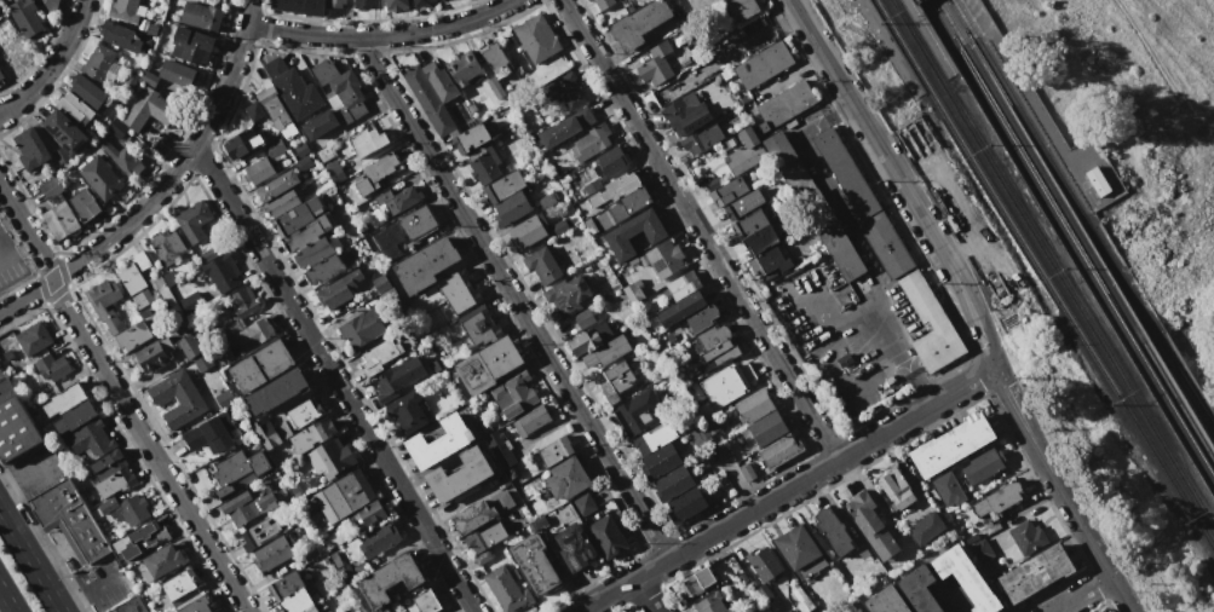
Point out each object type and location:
building: (587, 0)
building: (589, 0)
building: (334, 2)
building: (421, 2)
building: (362, 4)
building: (603, 4)
building: (50, 5)
building: (395, 5)
building: (700, 5)
building: (298, 6)
building: (741, 8)
building: (125, 10)
building: (201, 16)
building: (24, 17)
building: (638, 24)
building: (151, 29)
building: (119, 36)
road: (381, 37)
building: (537, 37)
railway: (924, 40)
building: (144, 45)
building: (191, 45)
railway: (894, 47)
building: (11, 51)
building: (495, 59)
road: (52, 64)
building: (100, 64)
building: (656, 64)
building: (763, 65)
building: (462, 68)
building: (323, 71)
building: (176, 73)
road: (1163, 73)
building: (1, 79)
building: (128, 82)
building: (439, 82)
building: (292, 88)
building: (87, 91)
building: (565, 91)
road: (1026, 92)
building: (485, 94)
building: (349, 96)
building: (427, 100)
building: (783, 105)
building: (75, 108)
building: (150, 109)
building: (274, 109)
building: (254, 111)
building: (684, 116)
building: (318, 125)
building: (116, 128)
building: (565, 128)
building: (64, 131)
building: (471, 137)
building: (701, 139)
building: (592, 142)
building: (364, 143)
building: (241, 144)
building: (30, 148)
building: (274, 148)
building: (744, 152)
building: (324, 154)
building: (61, 155)
building: (121, 158)
building: (610, 161)
railway: (1047, 161)
building: (303, 163)
building: (787, 163)
building: (332, 168)
building: (483, 168)
building: (257, 171)
railway: (1040, 172)
building: (375, 173)
building: (845, 173)
building: (99, 178)
road: (901, 180)
building: (1097, 181)
road: (162, 184)
building: (276, 185)
building: (502, 187)
building: (50, 189)
building: (610, 189)
building: (725, 190)
building: (398, 198)
building: (546, 201)
building: (282, 203)
building: (84, 204)
building: (743, 204)
building: (623, 207)
building: (510, 208)
road: (7, 214)
building: (295, 216)
building: (192, 220)
building: (59, 221)
building: (589, 225)
building: (747, 225)
building: (559, 226)
building: (403, 230)
building: (527, 231)
road: (698, 231)
building: (306, 232)
building: (634, 233)
building: (832, 237)
building: (755, 242)
railway: (1069, 243)
building: (886, 244)
building: (166, 246)
road: (17, 253)
building: (313, 253)
building: (663, 258)
building: (139, 260)
building: (769, 261)
building: (425, 264)
building: (541, 265)
railway: (1052, 265)
building: (218, 269)
building: (323, 269)
railway: (1045, 276)
building: (130, 277)
building: (683, 285)
building: (338, 288)
building: (459, 291)
building: (632, 293)
building: (566, 295)
road: (514, 299)
building: (139, 300)
building: (189, 302)
building: (104, 305)
building: (244, 305)
building: (681, 308)
building: (161, 317)
building: (583, 318)
building: (701, 318)
road: (882, 324)
building: (930, 324)
building: (479, 325)
building: (361, 327)
building: (251, 335)
building: (132, 336)
building: (712, 336)
building: (591, 337)
building: (33, 339)
building: (189, 346)
building: (606, 352)
building: (151, 354)
building: (715, 356)
building: (378, 357)
building: (202, 362)
building: (487, 365)
building: (260, 366)
building: (52, 368)
building: (397, 377)
railway: (1179, 377)
road: (333, 379)
railway: (1179, 380)
building: (615, 381)
building: (726, 383)
road: (844, 385)
building: (275, 392)
building: (513, 396)
building: (64, 398)
building: (177, 398)
building: (224, 399)
road: (119, 400)
railway: (1179, 402)
building: (753, 405)
building: (407, 411)
building: (637, 411)
building: (303, 412)
building: (75, 416)
building: (531, 420)
building: (15, 423)
building: (702, 429)
building: (767, 429)
building: (265, 432)
building: (209, 433)
building: (311, 435)
building: (654, 438)
building: (91, 439)
building: (438, 441)
building: (951, 445)
building: (554, 450)
building: (779, 450)
building: (501, 451)
building: (330, 457)
building: (658, 461)
building: (726, 463)
building: (107, 464)
building: (983, 464)
building: (237, 470)
building: (747, 473)
road: (18, 474)
building: (458, 475)
building: (563, 480)
building: (114, 481)
building: (673, 484)
road: (788, 489)
building: (897, 489)
road: (1063, 490)
building: (945, 491)
building: (344, 495)
building: (996, 500)
building: (582, 503)
building: (248, 504)
building: (685, 504)
building: (125, 509)
building: (479, 513)
building: (368, 514)
building: (69, 518)
building: (871, 525)
building: (927, 527)
building: (833, 531)
building: (259, 532)
building: (606, 536)
building: (485, 537)
building: (1028, 537)
building: (376, 538)
building: (143, 539)
building: (574, 547)
building: (796, 547)
building: (980, 550)
building: (271, 554)
building: (309, 554)
road: (30, 560)
building: (161, 561)
building: (535, 562)
building: (763, 564)
building: (1036, 572)
building: (345, 573)
building: (966, 578)
building: (387, 581)
building: (696, 582)
building: (182, 584)
building: (286, 585)
building: (507, 589)
building: (919, 589)
road: (86, 593)
road: (1087, 595)
road: (645, 596)
road: (7, 599)
building: (295, 601)
building: (420, 601)
building: (802, 601)
building: (886, 601)
building: (712, 602)
building: (195, 604)
building: (131, 606)
building: (310, 610)
building: (862, 611)

